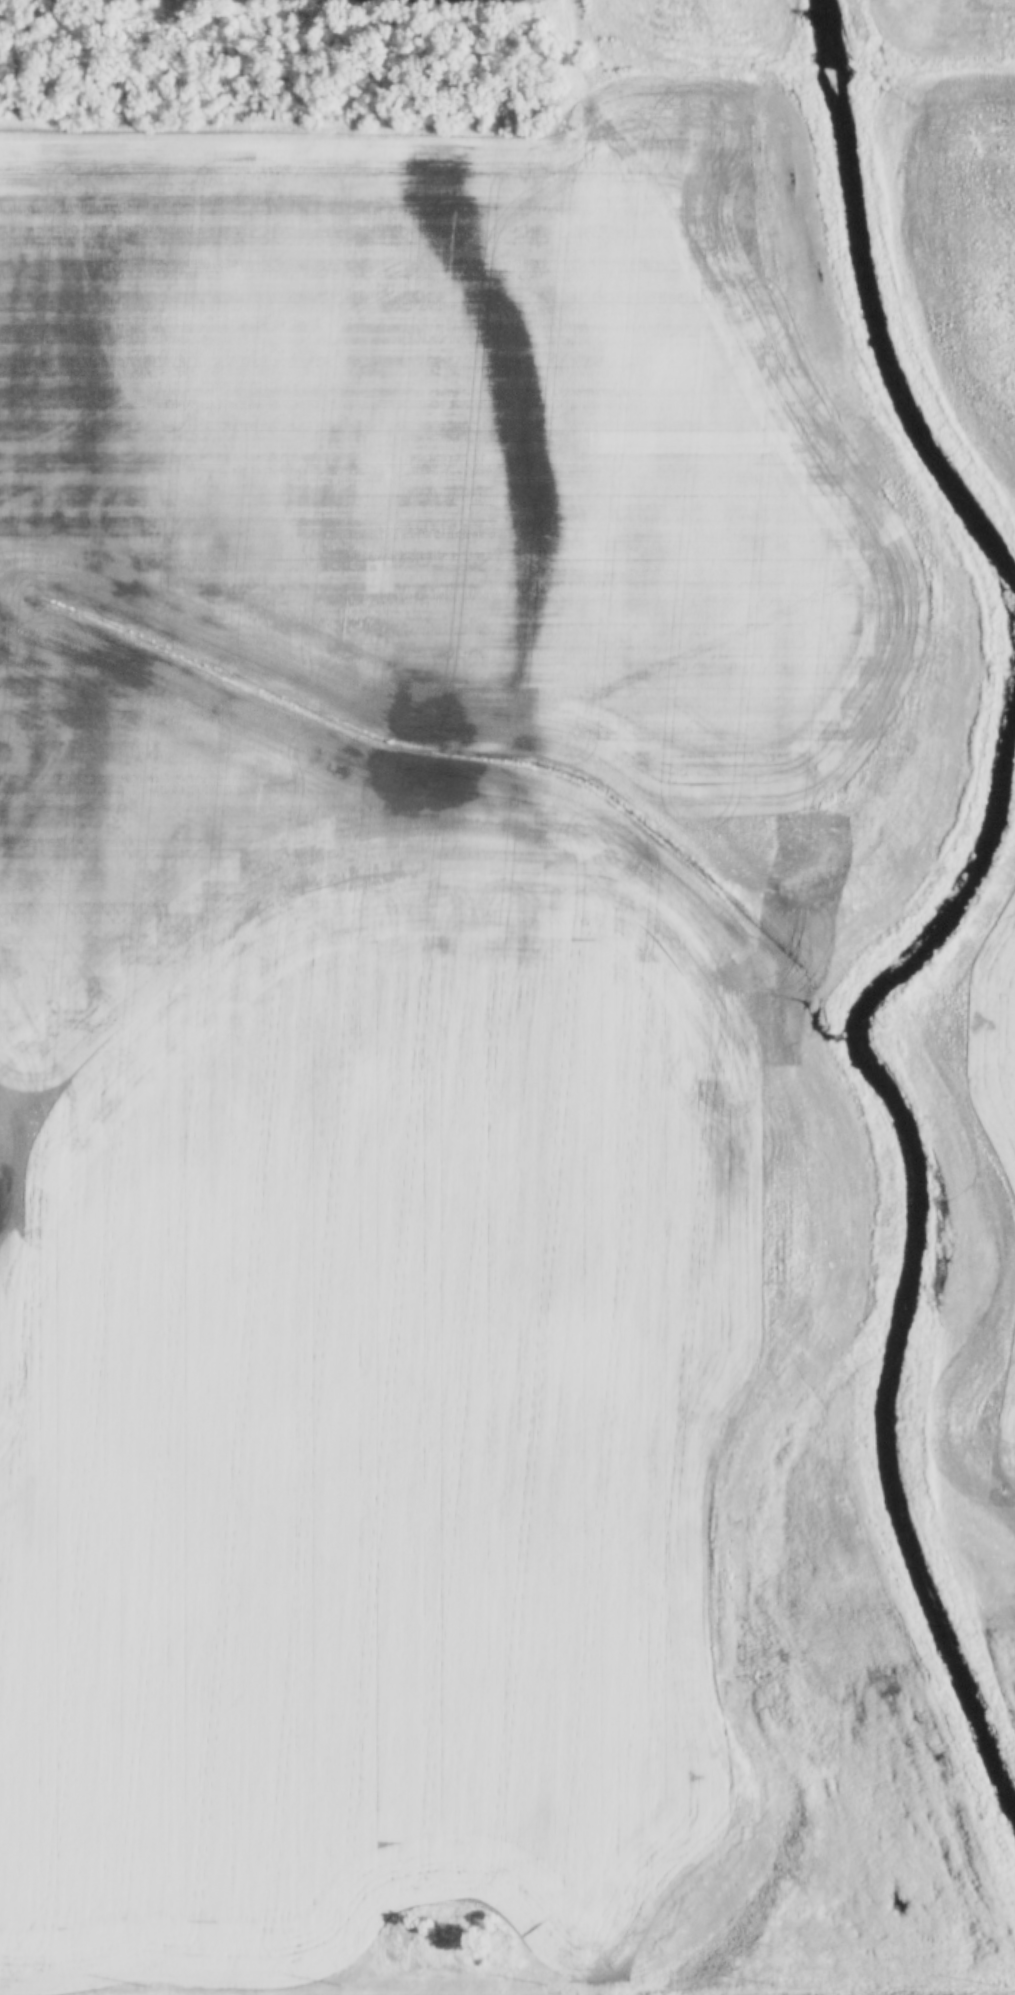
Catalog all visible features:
crop: (950, 25)
crop: (701, 27)
crop: (957, 247)
crop: (426, 1007)
crop: (972, 1230)

